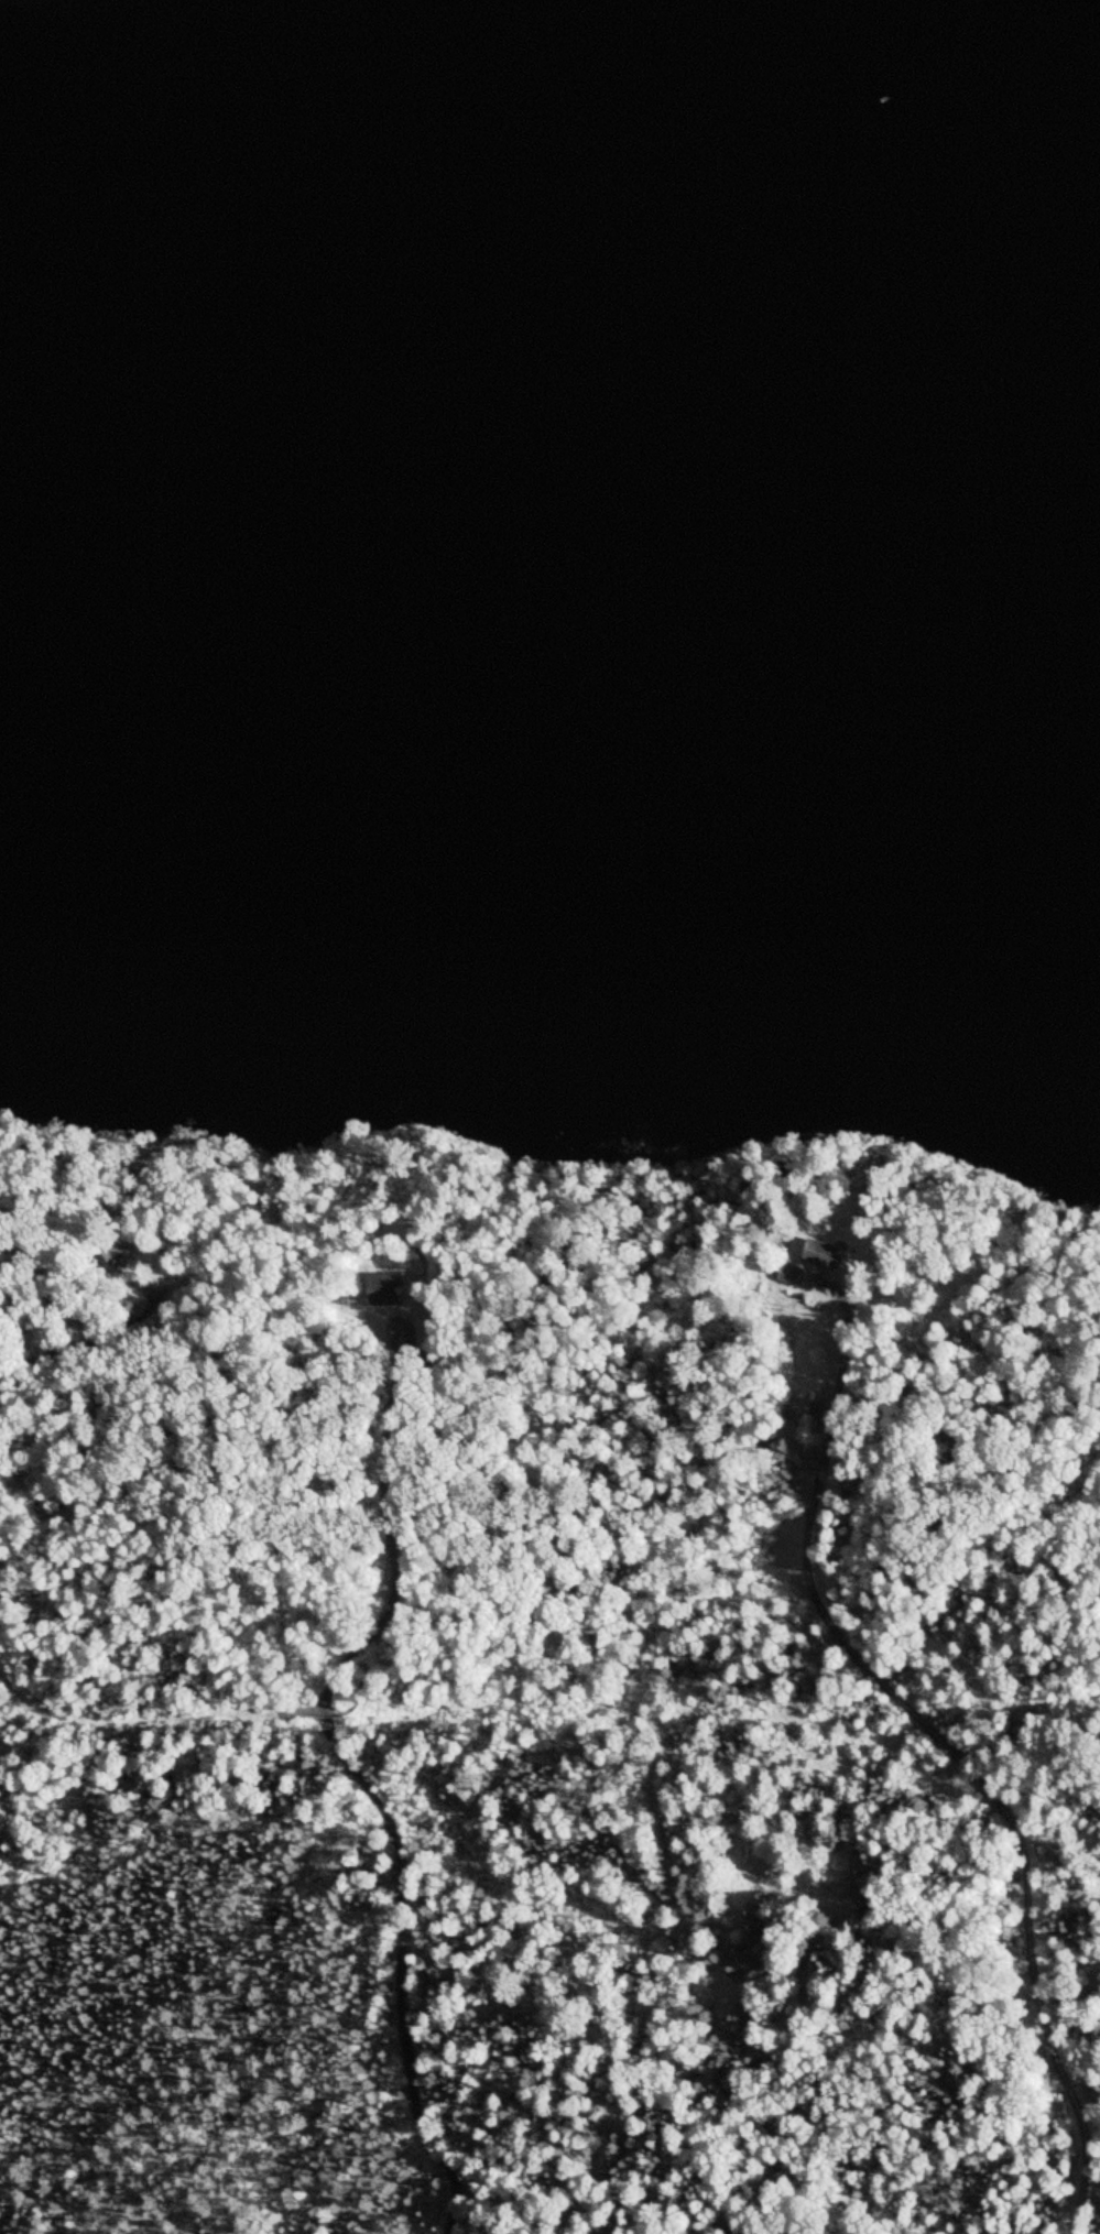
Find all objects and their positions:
building: (820, 1253)
building: (787, 1273)
building: (385, 1282)
road: (174, 1800)
road: (906, 1805)

